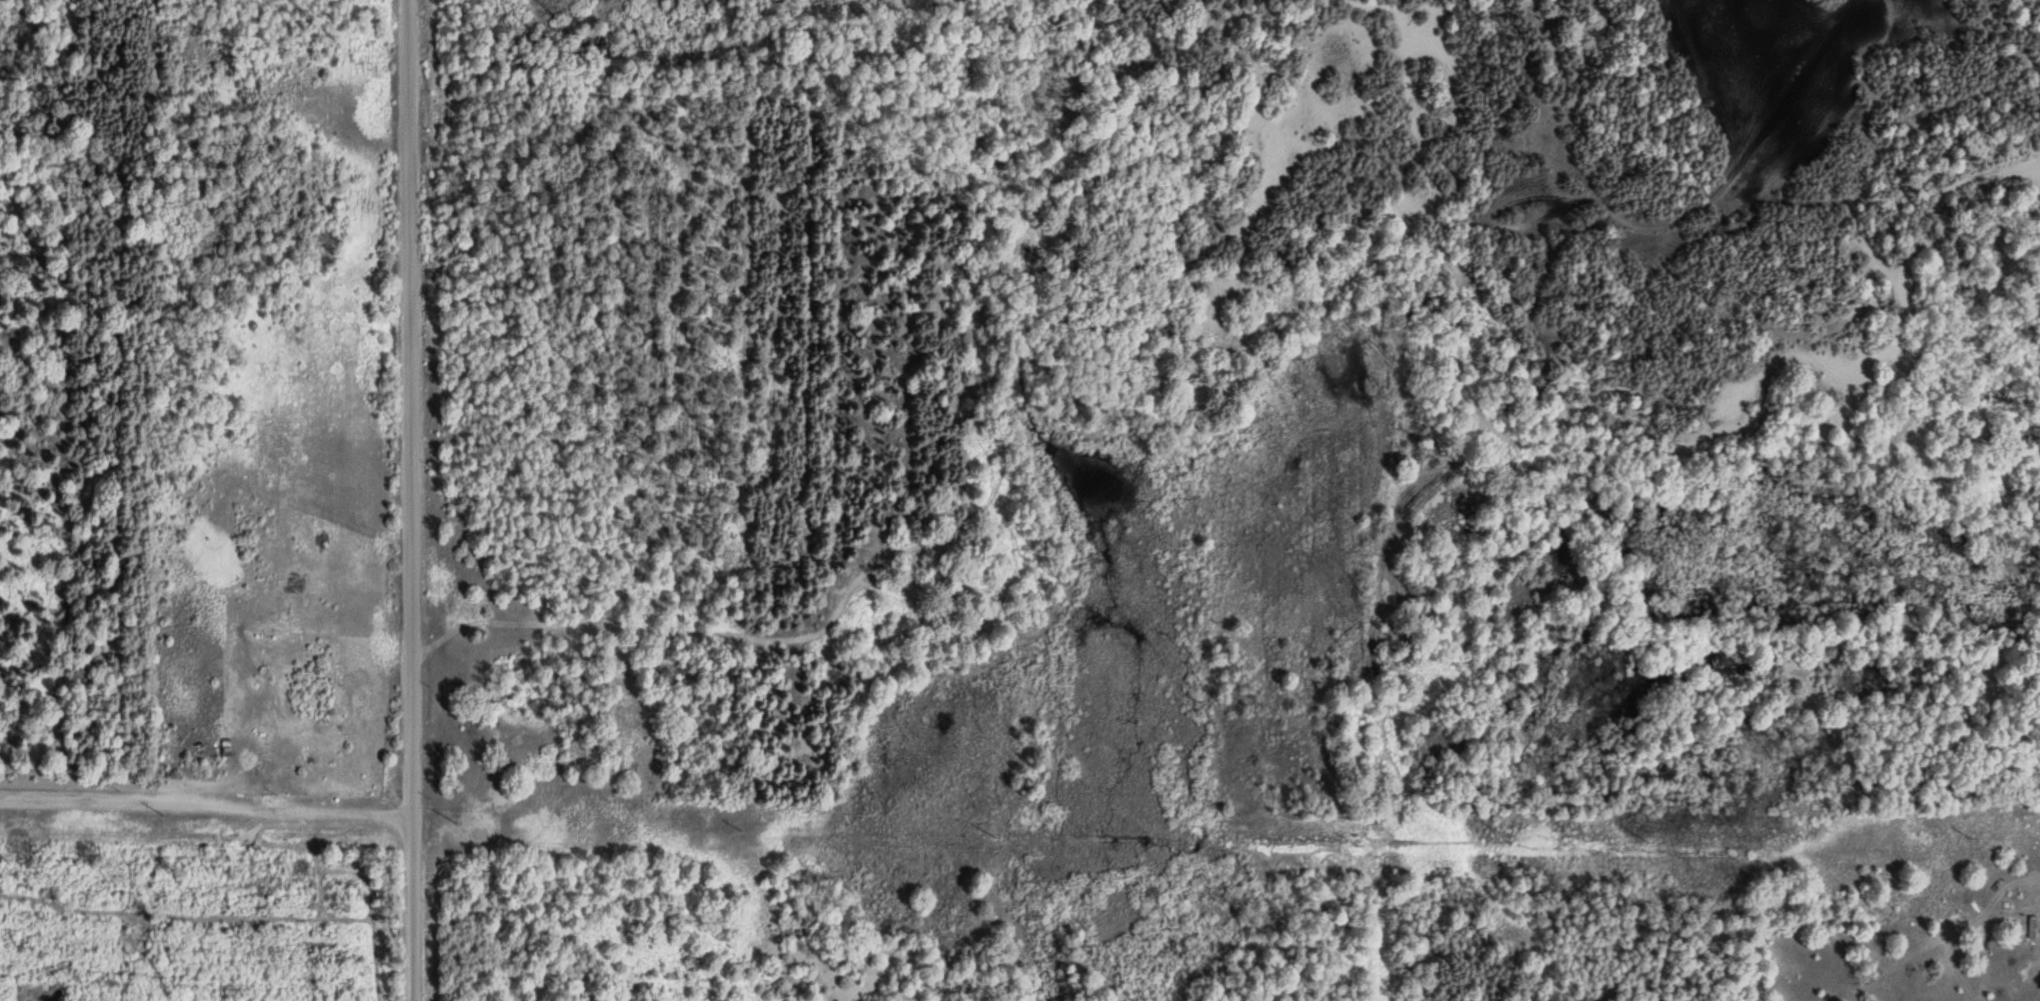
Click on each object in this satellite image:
road: (395, 500)
road: (197, 758)

